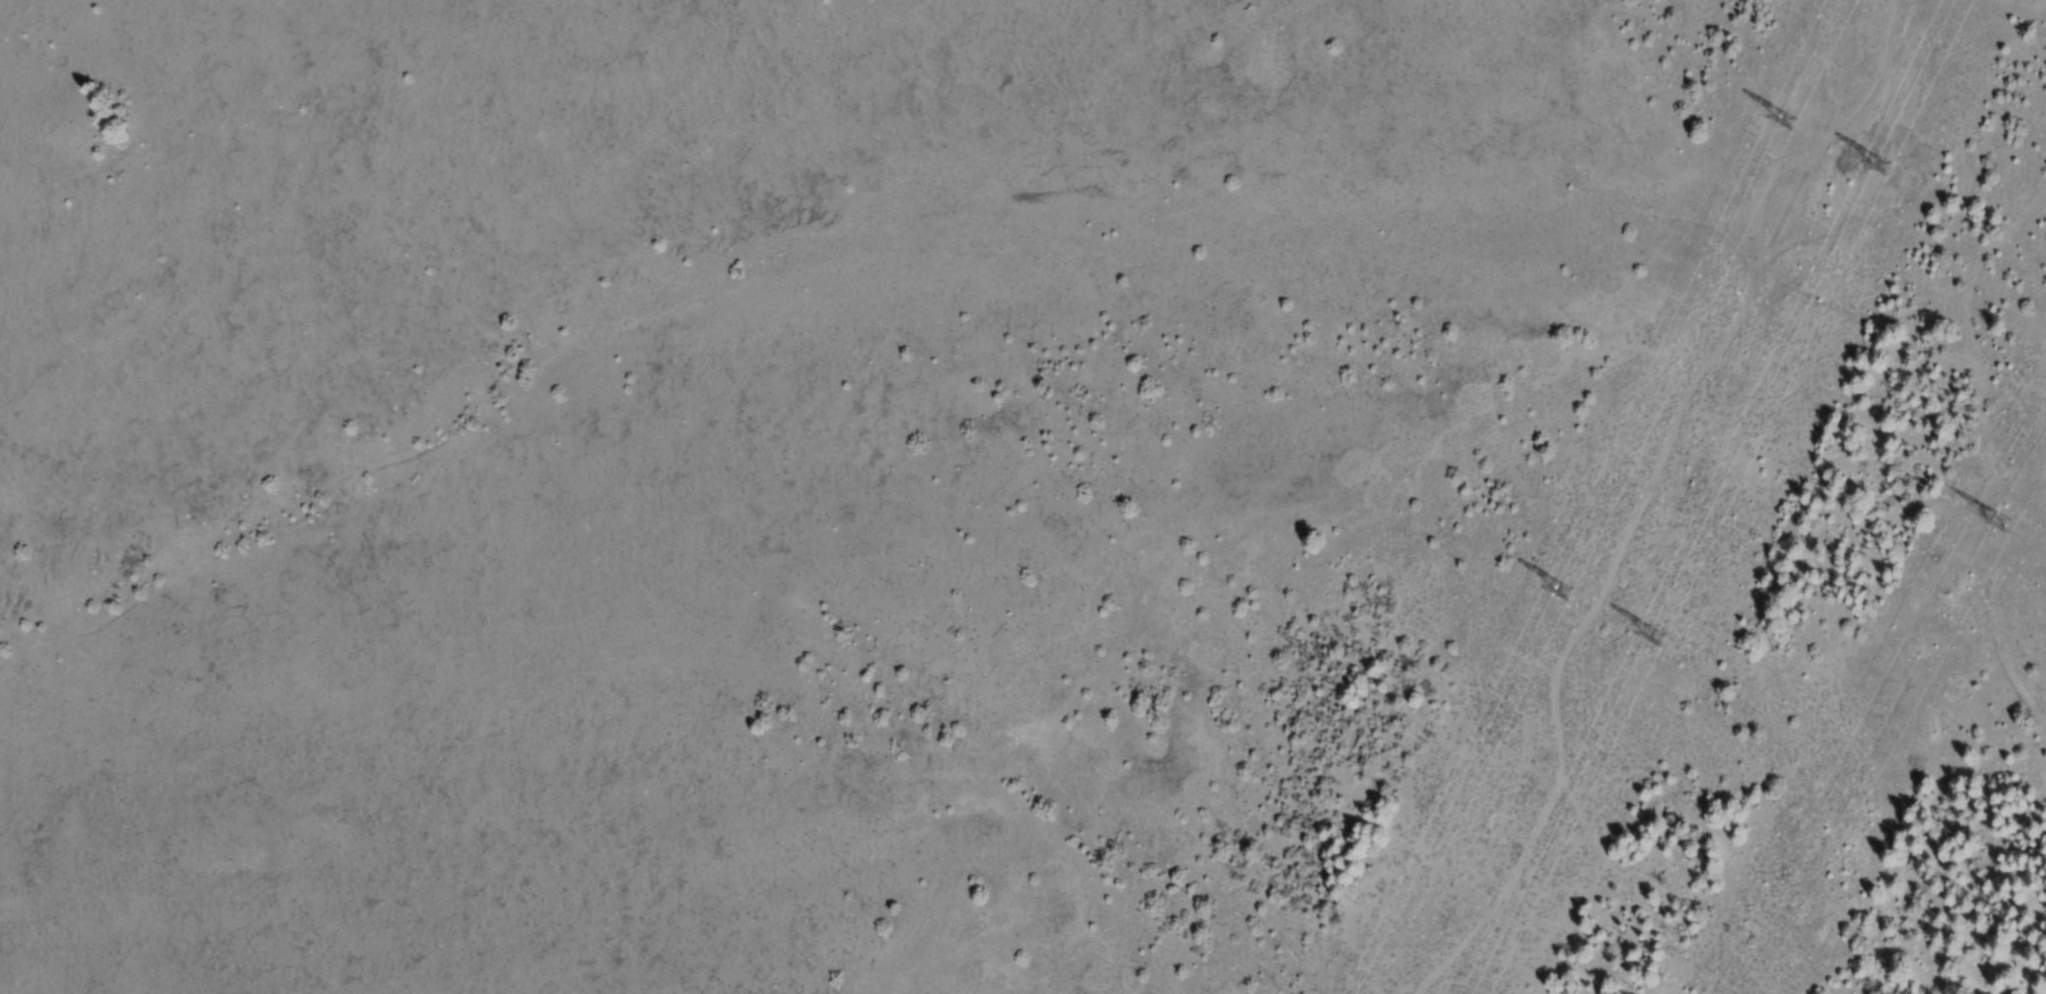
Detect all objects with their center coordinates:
power tower: (1785, 117)
power tower: (1878, 167)
road: (1638, 499)
power tower: (1999, 530)
power tower: (1564, 577)
power tower: (1650, 640)

